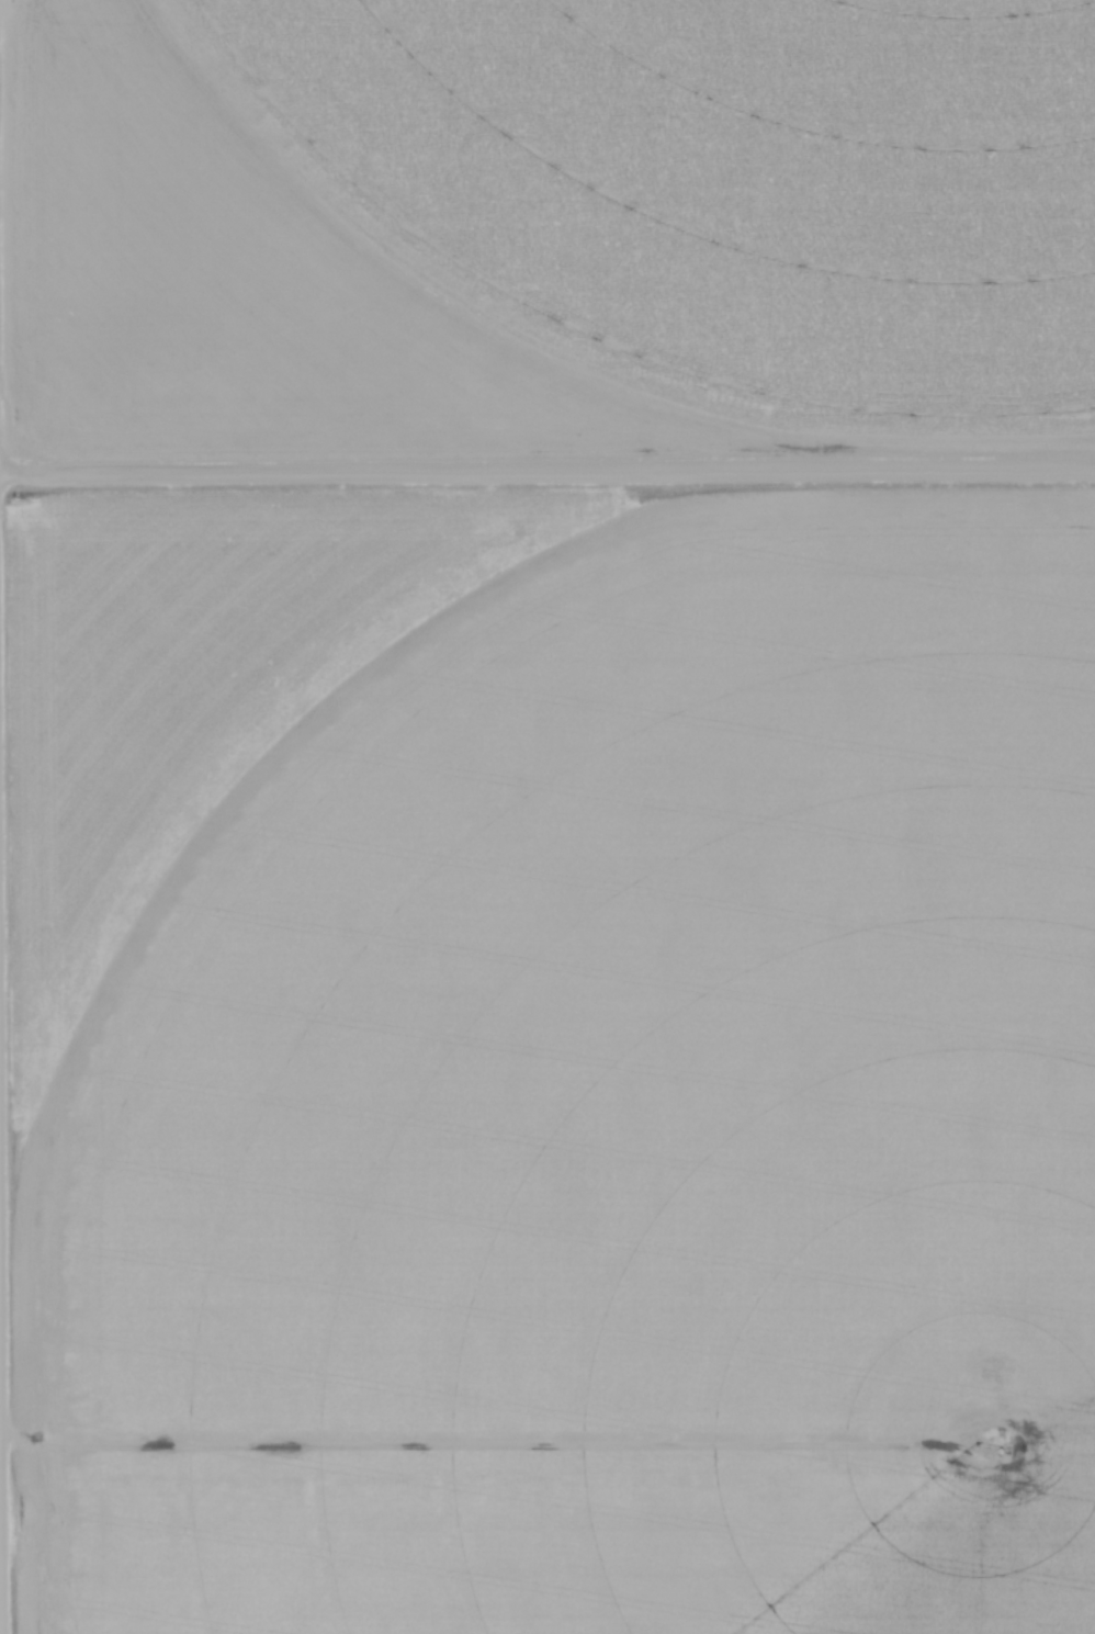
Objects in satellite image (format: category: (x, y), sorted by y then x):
road: (546, 474)
road: (0, 1408)
road: (1, 1422)

